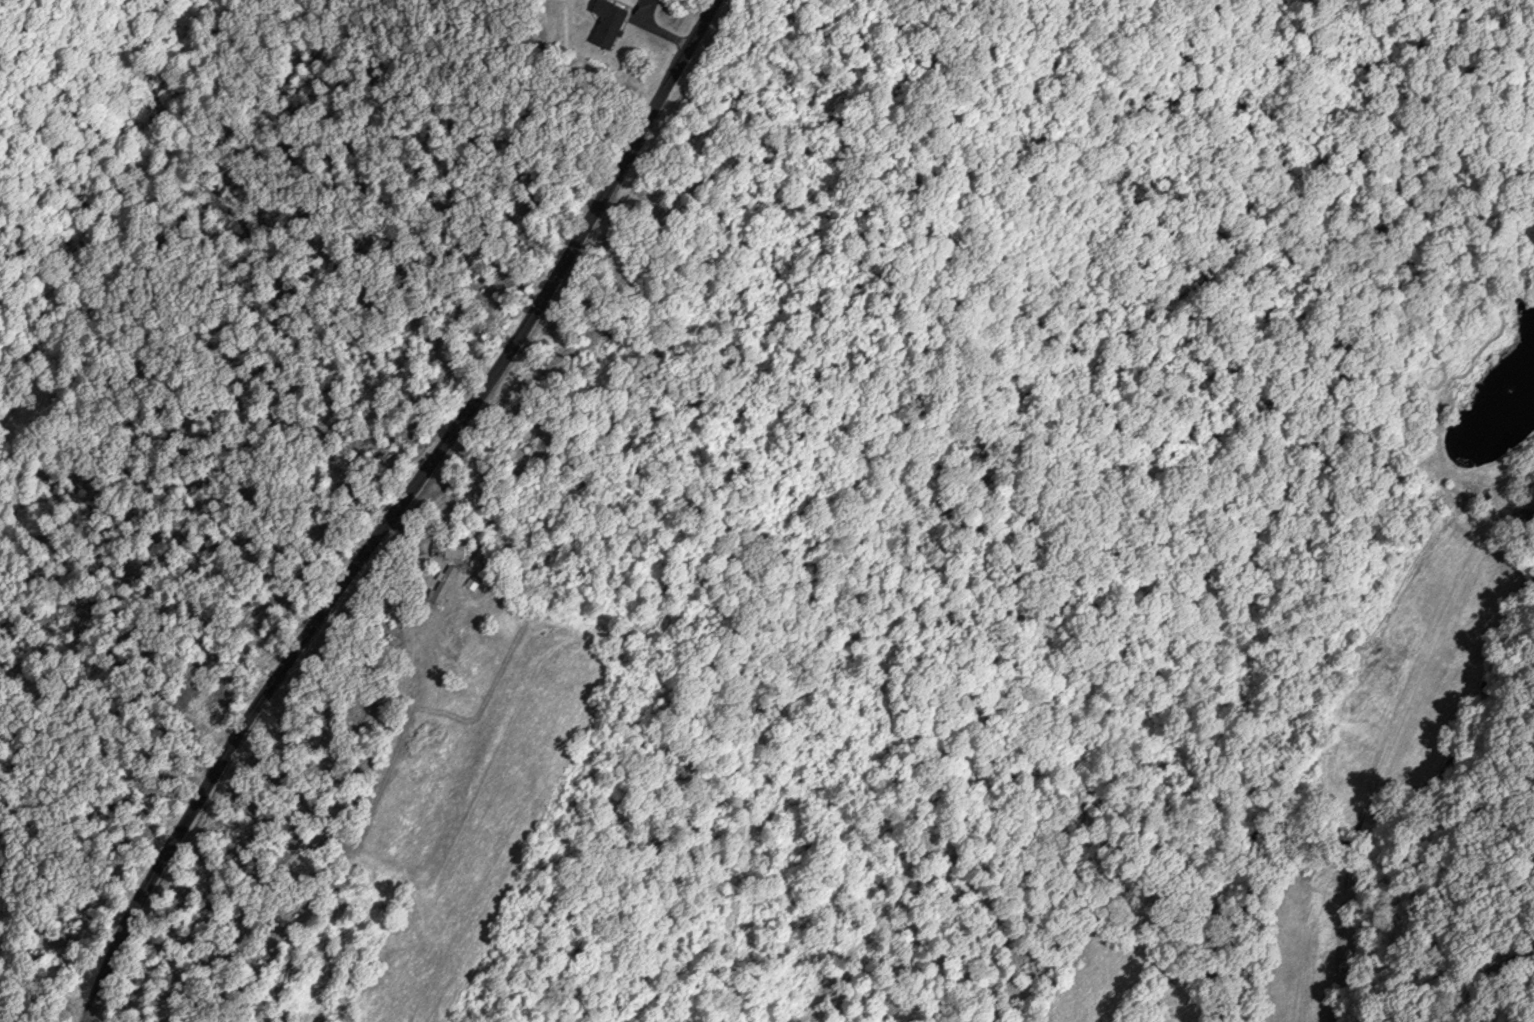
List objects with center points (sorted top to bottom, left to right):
building: (608, 13)
road: (397, 509)
building: (448, 551)
building: (440, 588)
road: (1382, 766)
road: (1484, 970)

